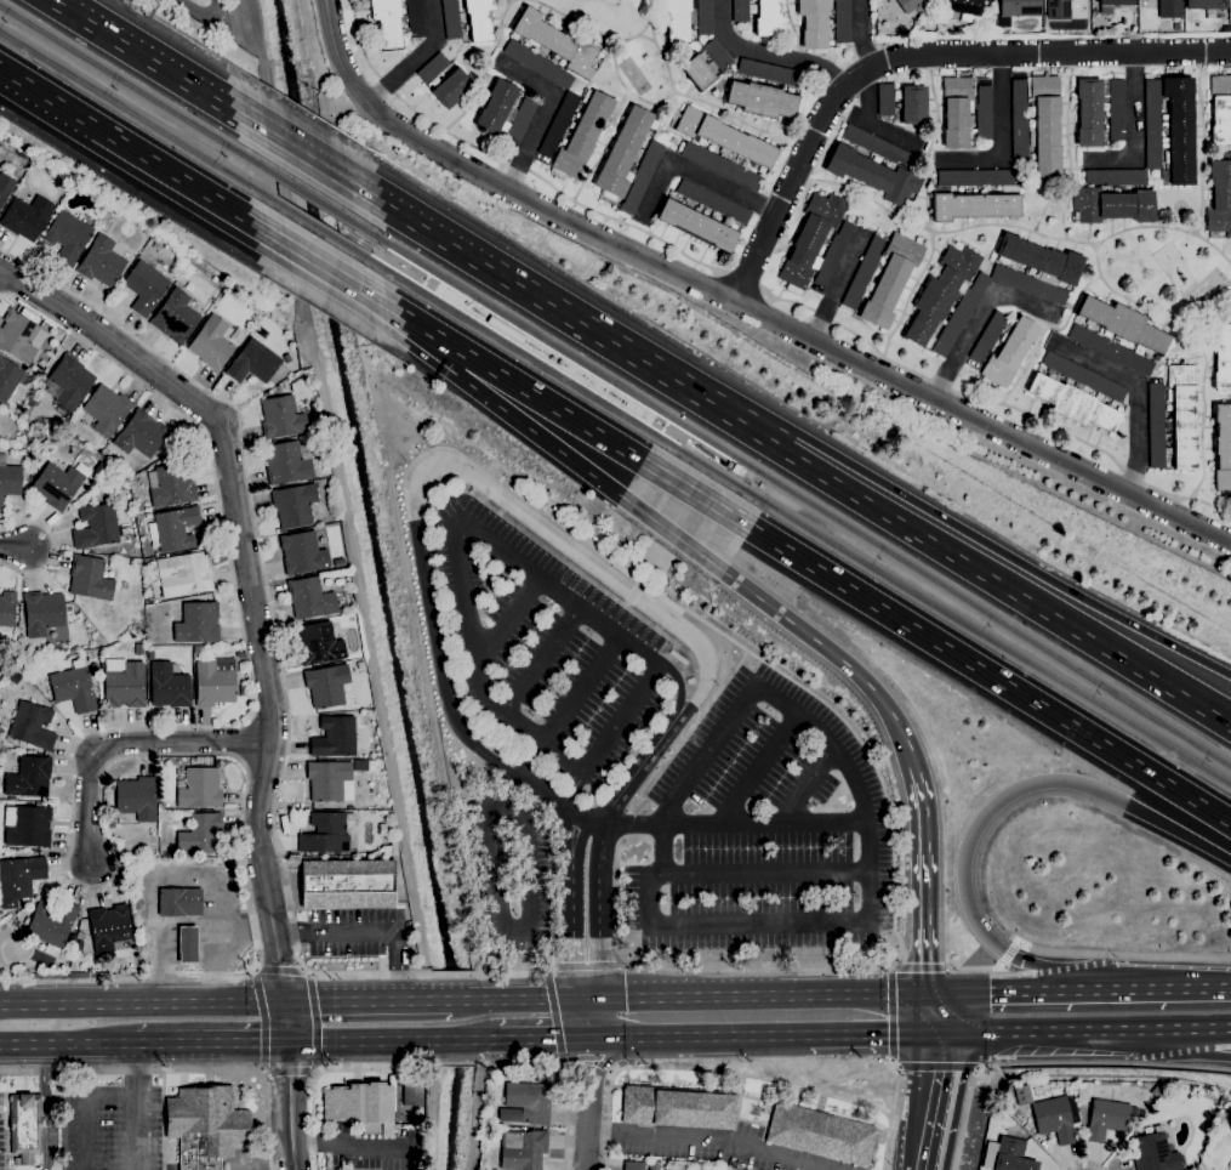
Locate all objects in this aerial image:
building: (986, 0)
building: (1111, 4)
building: (1206, 4)
building: (911, 5)
building: (965, 8)
building: (1169, 8)
building: (1016, 10)
building: (1058, 10)
building: (740, 11)
building: (705, 17)
building: (415, 18)
building: (477, 18)
building: (678, 18)
building: (769, 18)
building: (451, 19)
building: (843, 21)
building: (388, 23)
building: (814, 23)
building: (1176, 25)
road: (654, 33)
road: (860, 33)
building: (543, 35)
road: (599, 35)
road: (359, 41)
road: (769, 52)
building: (718, 53)
road: (911, 55)
road: (414, 56)
building: (582, 59)
building: (537, 63)
road: (156, 67)
building: (433, 67)
road: (481, 69)
building: (697, 72)
building: (768, 72)
park: (634, 75)
road: (387, 85)
building: (451, 86)
railway: (136, 87)
road: (364, 90)
road: (47, 97)
building: (885, 98)
building: (762, 100)
road: (657, 102)
building: (913, 104)
building: (500, 108)
building: (1221, 108)
building: (1117, 109)
building: (957, 110)
building: (1090, 110)
building: (984, 112)
road: (542, 115)
railway: (138, 117)
road: (740, 119)
building: (520, 121)
road: (873, 121)
building: (1019, 121)
building: (559, 124)
building: (1153, 124)
building: (1045, 129)
building: (1179, 129)
road: (1135, 130)
building: (581, 136)
road: (1001, 137)
building: (725, 140)
road: (930, 142)
road: (1204, 143)
building: (877, 144)
road: (604, 147)
road: (1067, 148)
building: (623, 153)
road: (307, 160)
road: (330, 161)
building: (720, 165)
road: (694, 171)
building: (873, 174)
building: (642, 176)
building: (1117, 176)
building: (975, 177)
road: (190, 184)
building: (5, 187)
road: (555, 189)
building: (1220, 195)
railway: (313, 198)
building: (713, 201)
building: (975, 203)
building: (1111, 204)
building: (27, 216)
building: (697, 222)
road: (1015, 226)
railway: (318, 227)
road: (416, 228)
road: (924, 229)
building: (68, 237)
building: (810, 240)
building: (158, 244)
building: (833, 254)
railway: (380, 260)
building: (1041, 260)
building: (102, 262)
road: (1098, 262)
road: (325, 267)
building: (862, 273)
building: (891, 279)
road: (745, 280)
road: (838, 286)
building: (144, 288)
park: (1207, 290)
road: (519, 291)
building: (941, 294)
road: (742, 307)
road: (399, 312)
road: (979, 314)
building: (175, 317)
road: (1055, 320)
building: (1124, 324)
building: (952, 326)
road: (1044, 328)
building: (19, 336)
building: (988, 336)
building: (211, 343)
railway: (518, 350)
building: (1111, 350)
road: (445, 353)
building: (1009, 353)
building: (1221, 353)
building: (253, 363)
building: (1084, 375)
building: (8, 377)
building: (69, 382)
road: (1136, 392)
road: (542, 399)
building: (34, 401)
building: (1073, 402)
road: (997, 403)
road: (1204, 408)
building: (107, 409)
building: (1182, 413)
building: (281, 418)
building: (1156, 424)
building: (318, 427)
road: (683, 431)
road: (682, 435)
building: (141, 436)
road: (679, 437)
road: (543, 439)
building: (1223, 447)
road: (724, 456)
road: (716, 461)
building: (287, 462)
road: (728, 465)
road: (461, 466)
railway: (711, 468)
building: (8, 479)
building: (171, 482)
building: (57, 484)
road: (490, 487)
road: (893, 489)
railway: (793, 492)
road: (695, 494)
road: (864, 501)
building: (293, 505)
building: (139, 507)
building: (557, 510)
road: (686, 516)
road: (448, 518)
building: (97, 526)
building: (177, 528)
road: (671, 534)
building: (597, 539)
road: (16, 546)
road: (52, 547)
road: (554, 552)
building: (302, 553)
building: (338, 562)
road: (621, 563)
building: (183, 574)
road: (246, 577)
building: (90, 578)
road: (643, 584)
road: (633, 596)
building: (310, 597)
building: (7, 607)
road: (270, 610)
building: (353, 610)
building: (42, 613)
road: (619, 617)
building: (198, 623)
road: (508, 624)
railway: (987, 635)
building: (319, 643)
building: (138, 648)
building: (198, 649)
road: (828, 651)
parking lot: (547, 652)
building: (150, 655)
road: (543, 660)
building: (359, 665)
road: (985, 672)
building: (15, 676)
building: (216, 681)
building: (124, 683)
road: (764, 683)
building: (326, 685)
building: (169, 686)
building: (74, 687)
building: (243, 689)
road: (680, 691)
road: (1202, 697)
road: (575, 708)
road: (1202, 708)
building: (32, 725)
building: (335, 737)
road: (610, 737)
road: (124, 745)
building: (204, 761)
building: (364, 765)
road: (756, 766)
road: (636, 772)
building: (29, 777)
building: (330, 780)
road: (804, 780)
building: (372, 786)
building: (200, 788)
building: (136, 797)
road: (1002, 799)
road: (562, 803)
building: (27, 825)
road: (625, 825)
road: (734, 825)
parking lot: (765, 830)
building: (200, 834)
building: (325, 834)
road: (563, 836)
road: (70, 837)
road: (580, 839)
building: (393, 847)
road: (766, 871)
road: (924, 877)
building: (19, 879)
road: (894, 879)
building: (348, 882)
building: (179, 902)
road: (597, 909)
road: (760, 921)
building: (51, 922)
building: (112, 930)
road: (369, 930)
road: (571, 932)
building: (188, 944)
gas station: (188, 944)
building: (79, 945)
road: (1010, 953)
road: (1121, 954)
road: (587, 965)
road: (895, 965)
road: (923, 967)
road: (975, 967)
road: (279, 971)
road: (514, 973)
road: (454, 975)
road: (1150, 988)
road: (997, 990)
traffic signals: (925, 992)
road: (851, 993)
road: (688, 996)
road: (524, 999)
traffic signals: (572, 999)
road: (585, 999)
traffic signals: (598, 999)
road: (359, 1000)
road: (441, 1000)
road: (457, 1000)
road: (472, 1000)
traffic signals: (284, 1001)
road: (142, 1003)
road: (933, 1011)
road: (890, 1012)
road: (554, 1017)
road: (580, 1018)
road: (592, 1018)
road: (264, 1020)
road: (315, 1021)
road: (1202, 1028)
road: (1056, 1030)
traffic signals: (940, 1032)
road: (872, 1033)
road: (696, 1036)
road: (575, 1038)
traffic signals: (587, 1038)
road: (461, 1039)
road: (491, 1039)
road: (531, 1039)
road: (363, 1040)
road: (211, 1041)
traffic signals: (286, 1041)
road: (52, 1044)
road: (121, 1044)
road: (1199, 1046)
road: (890, 1060)
road: (1050, 1062)
road: (589, 1063)
road: (456, 1064)
road: (572, 1064)
road: (600, 1066)
road: (602, 1066)
road: (897, 1066)
road: (938, 1066)
road: (976, 1067)
road: (181, 1068)
road: (325, 1068)
road: (579, 1068)
road: (609, 1069)
road: (289, 1072)
road: (568, 1073)
building: (540, 1077)
road: (758, 1077)
road: (291, 1085)
building: (1157, 1091)
building: (412, 1094)
building: (1021, 1094)
road: (850, 1100)
road: (933, 1101)
building: (526, 1103)
road: (81, 1104)
road: (434, 1104)
road: (47, 1106)
building: (361, 1106)
road: (138, 1107)
building: (678, 1107)
building: (1056, 1118)
building: (1107, 1118)
building: (206, 1125)
building: (25, 1126)
parking lot: (107, 1129)
road: (587, 1135)
building: (822, 1136)
road: (712, 1141)
road: (353, 1145)
building: (523, 1149)
building: (1153, 1153)
building: (1007, 1155)
road: (1083, 1162)
building: (633, 1165)

